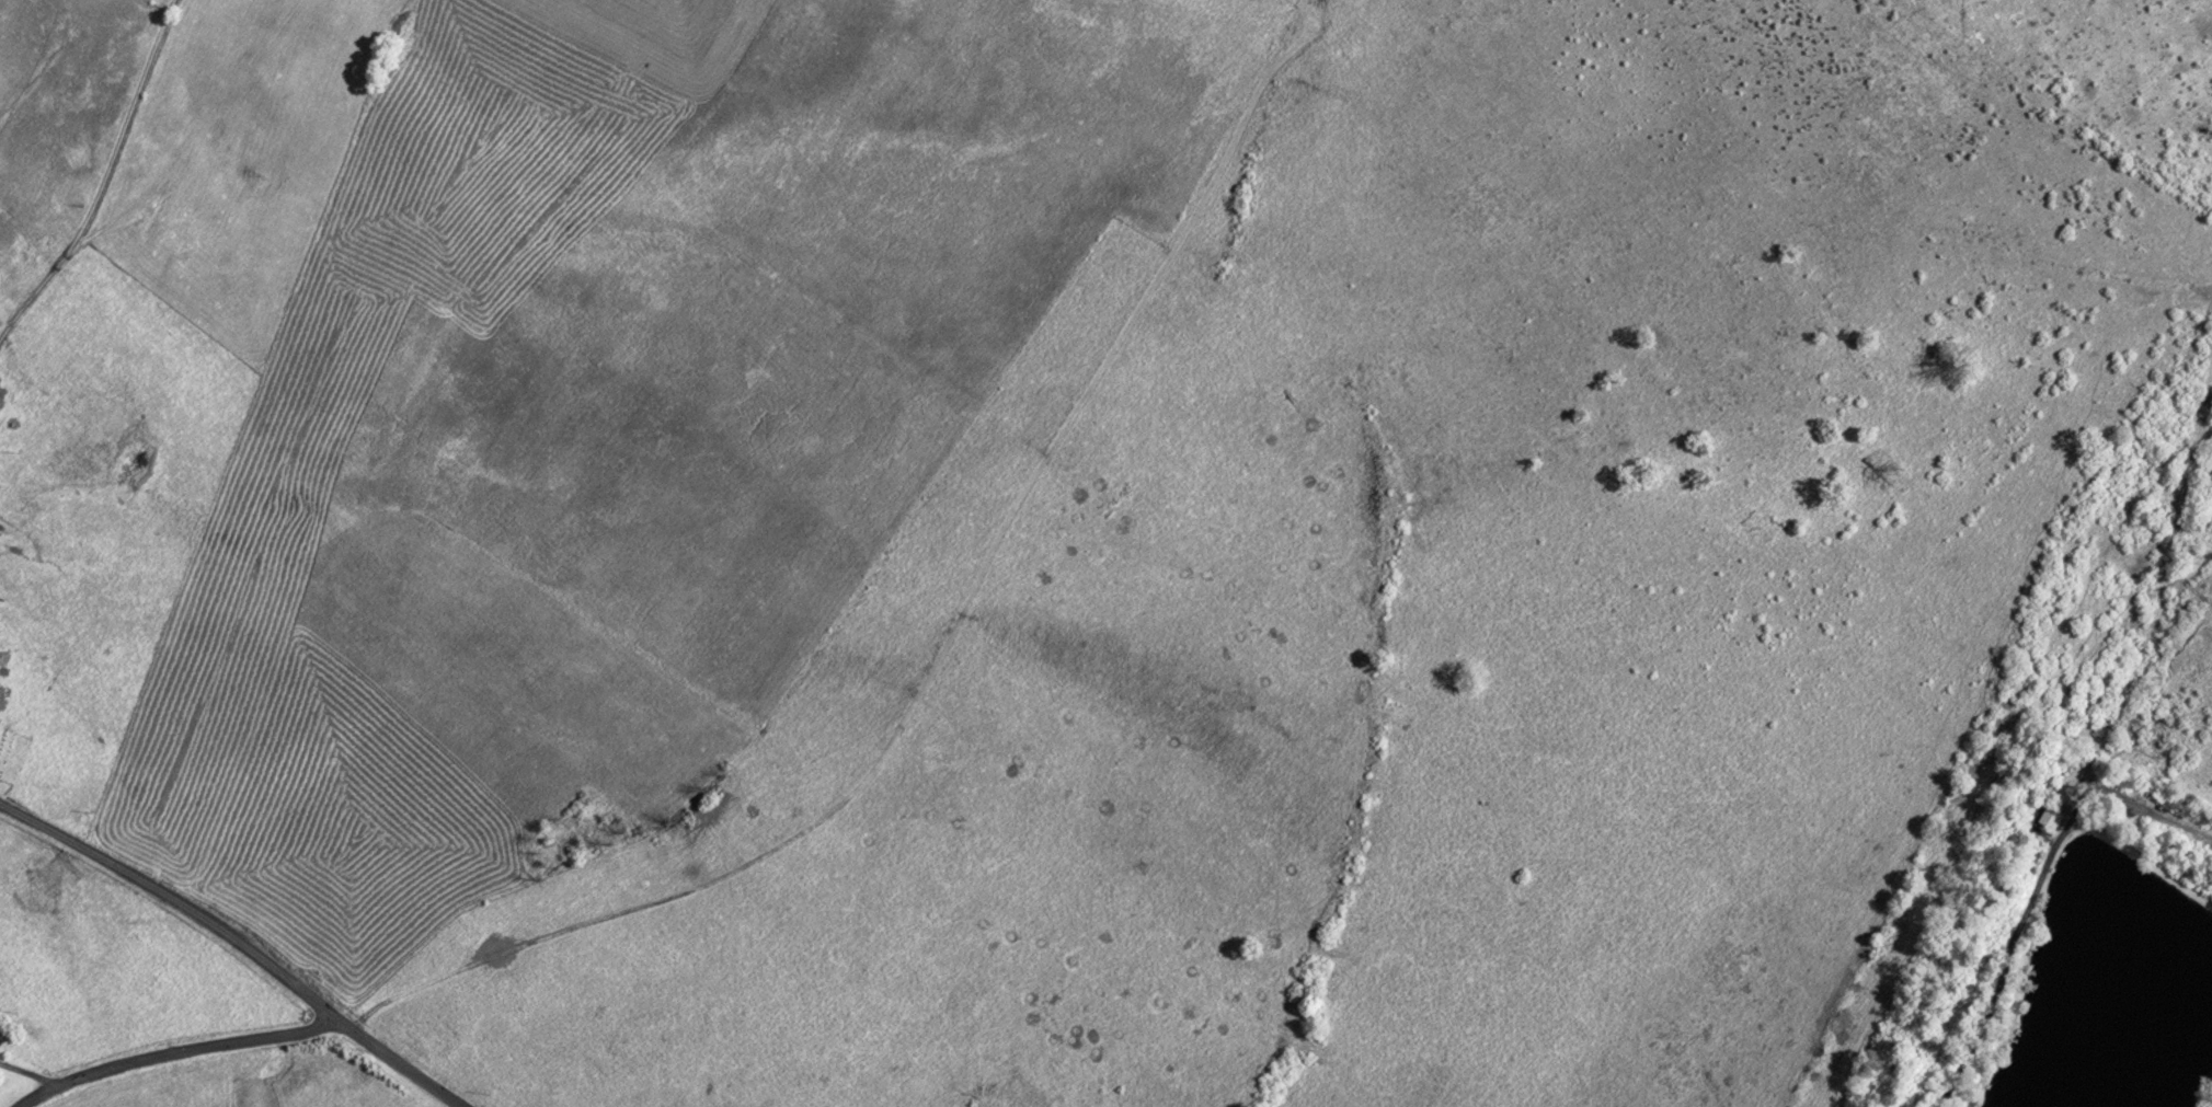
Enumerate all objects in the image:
road: (100, 171)
building: (2050, 817)
road: (240, 941)
road: (184, 1062)

